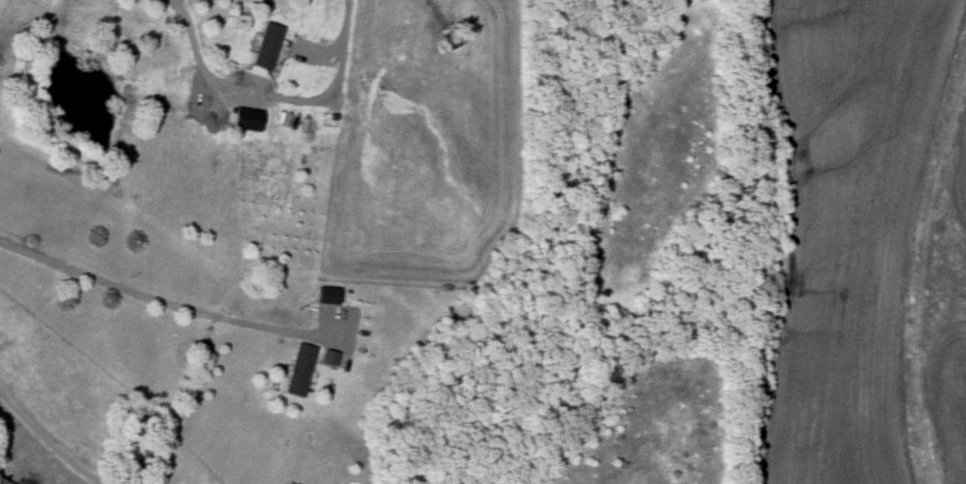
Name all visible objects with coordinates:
building: (266, 47)
road: (199, 58)
building: (248, 119)
building: (326, 296)
road: (166, 302)
building: (298, 371)
road: (52, 439)
building: (2, 482)

